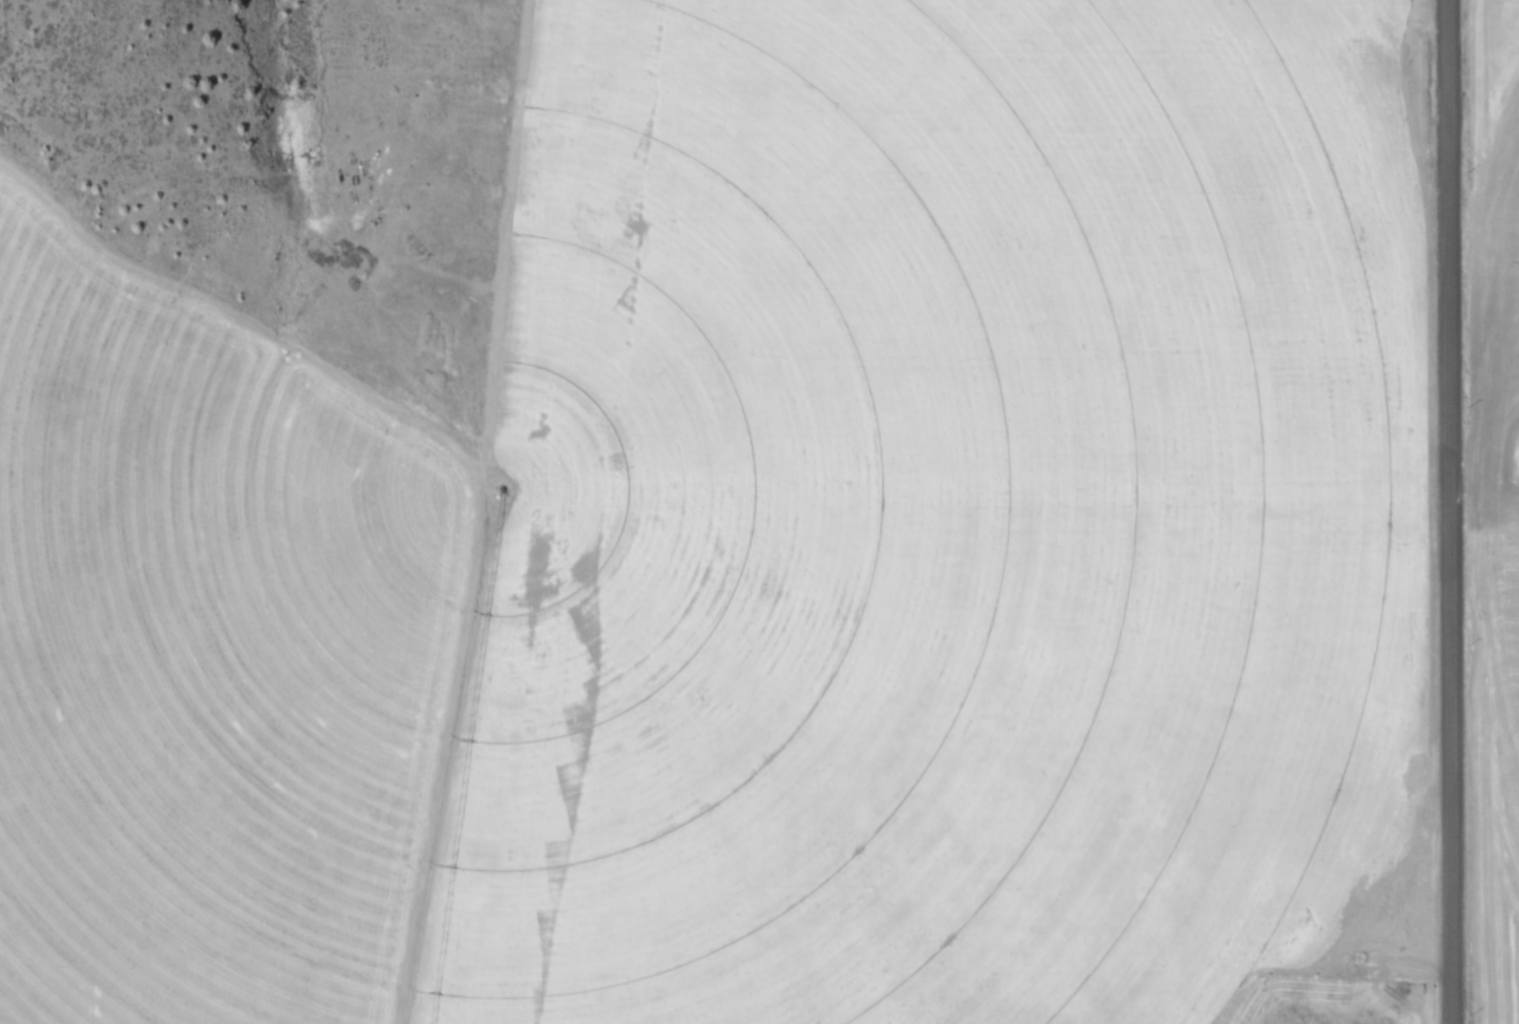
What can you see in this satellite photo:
crop: (677, 509)
road: (1446, 512)
crop: (1493, 538)

